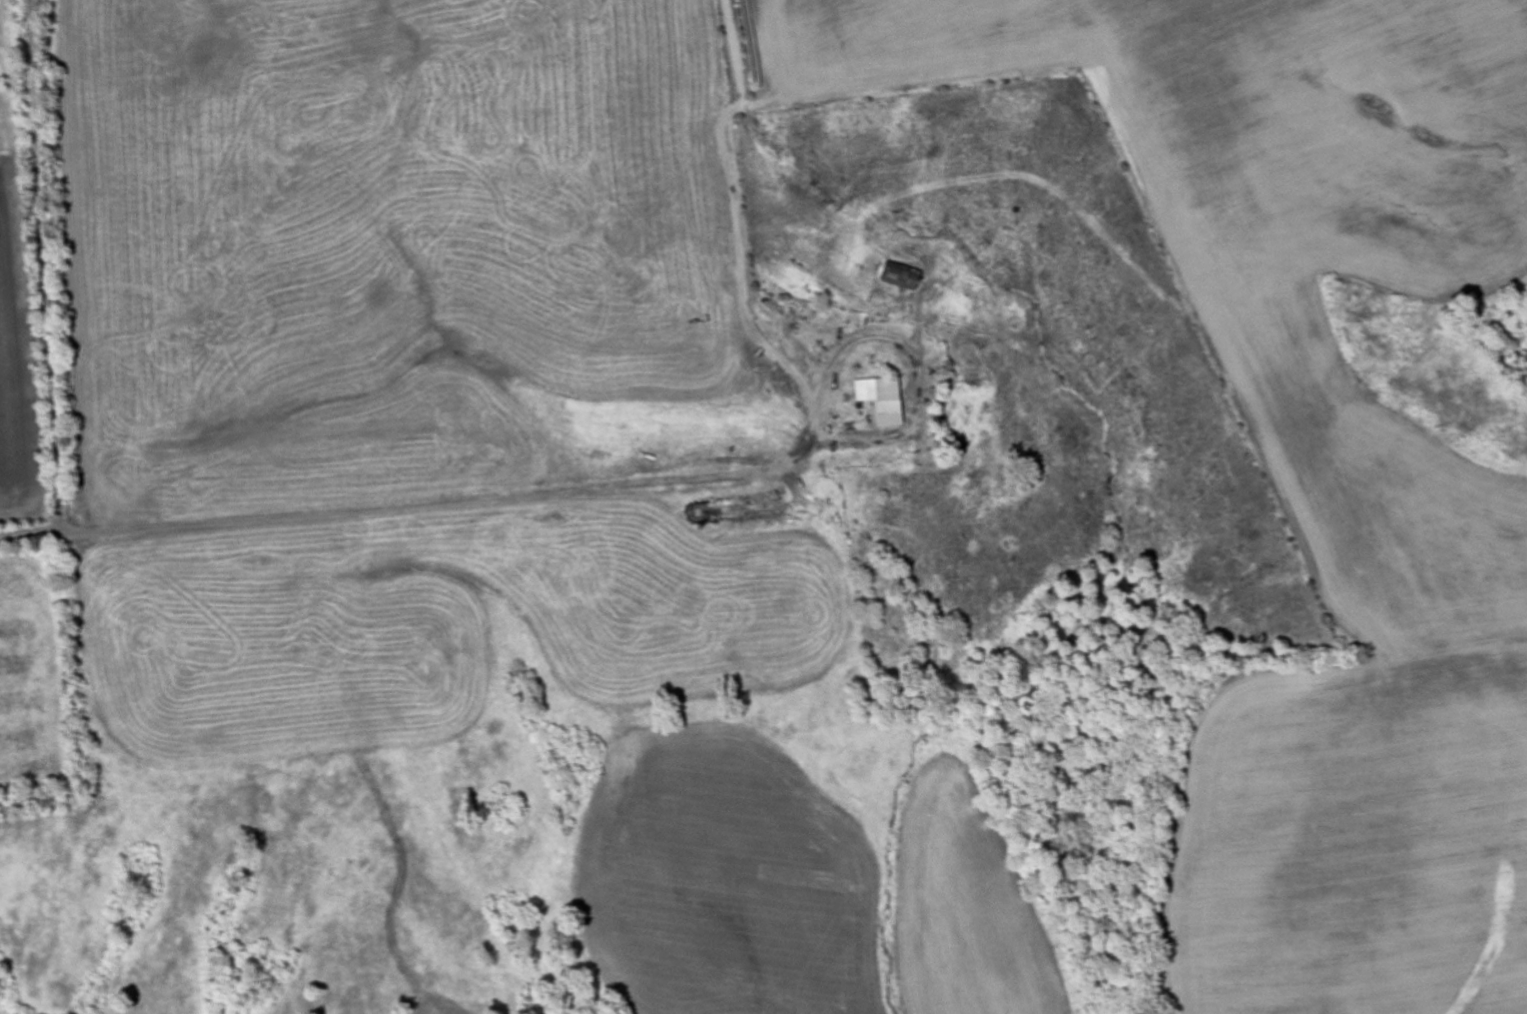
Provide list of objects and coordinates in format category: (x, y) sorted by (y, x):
road: (44, 263)
building: (885, 403)
road: (404, 490)

